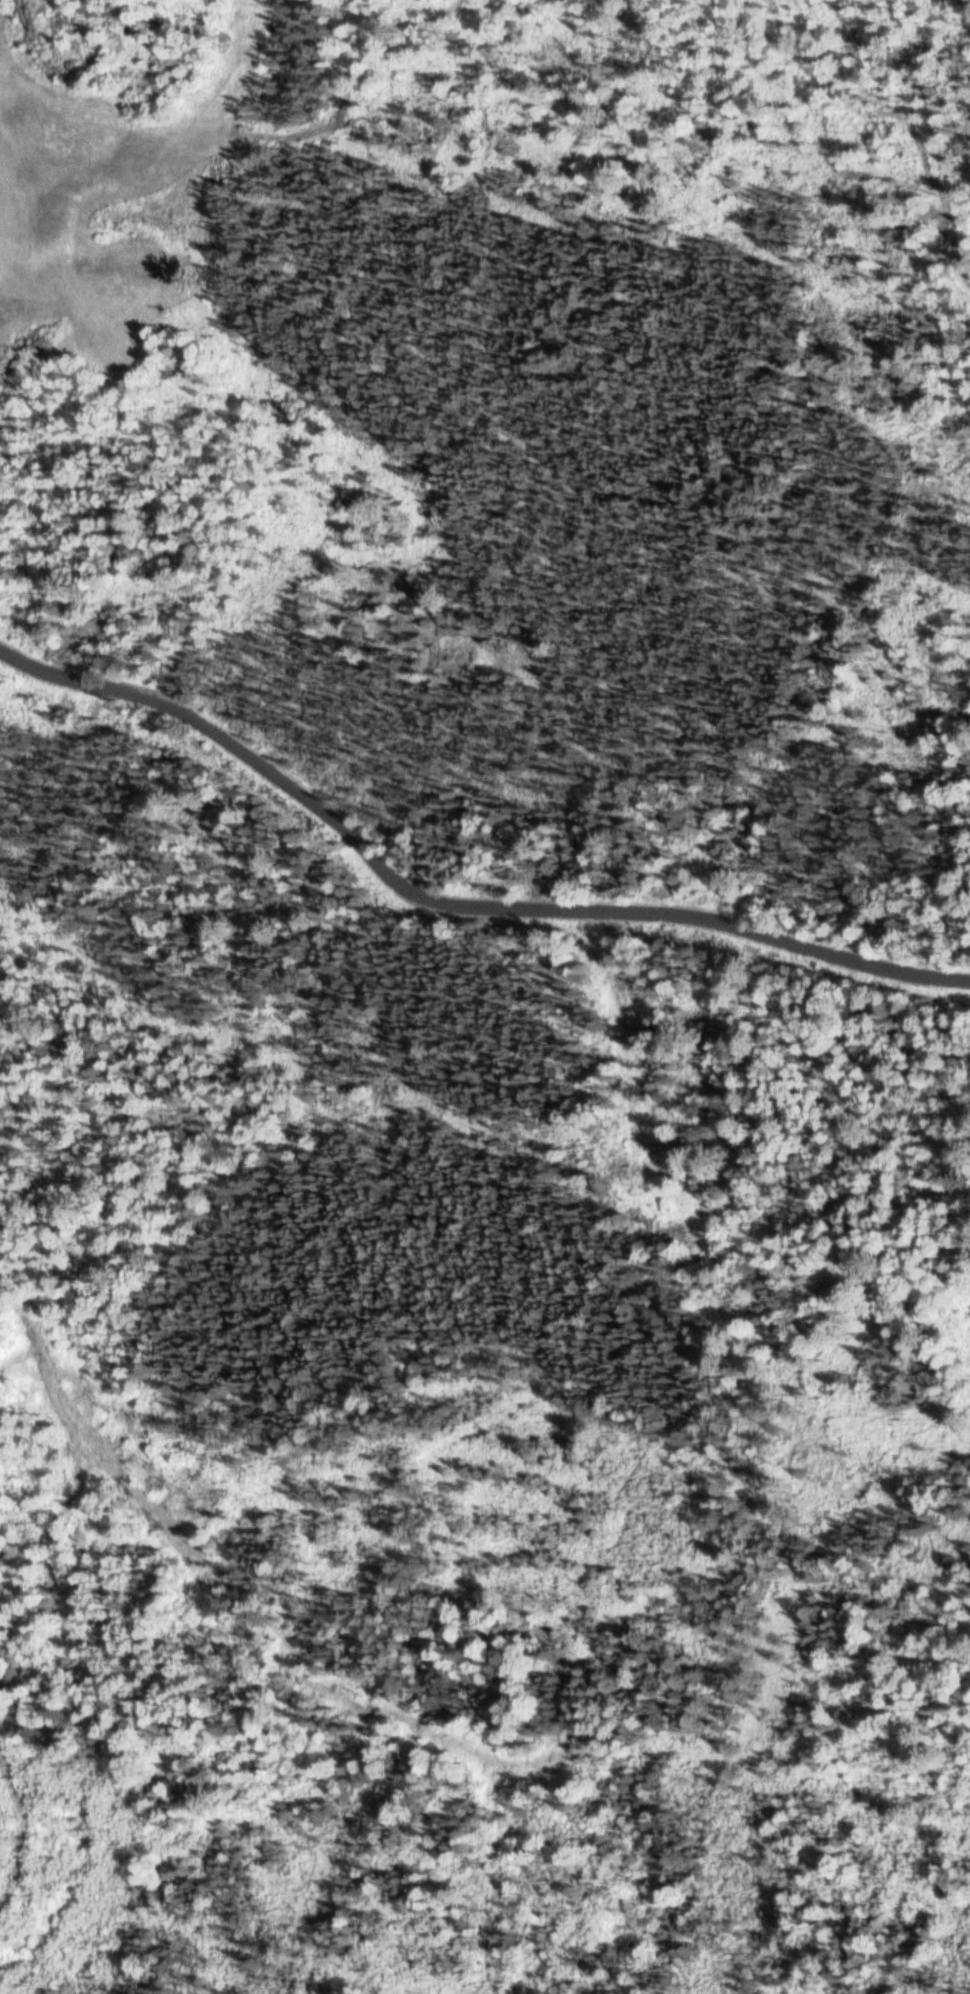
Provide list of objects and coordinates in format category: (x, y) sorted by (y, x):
road: (451, 894)

